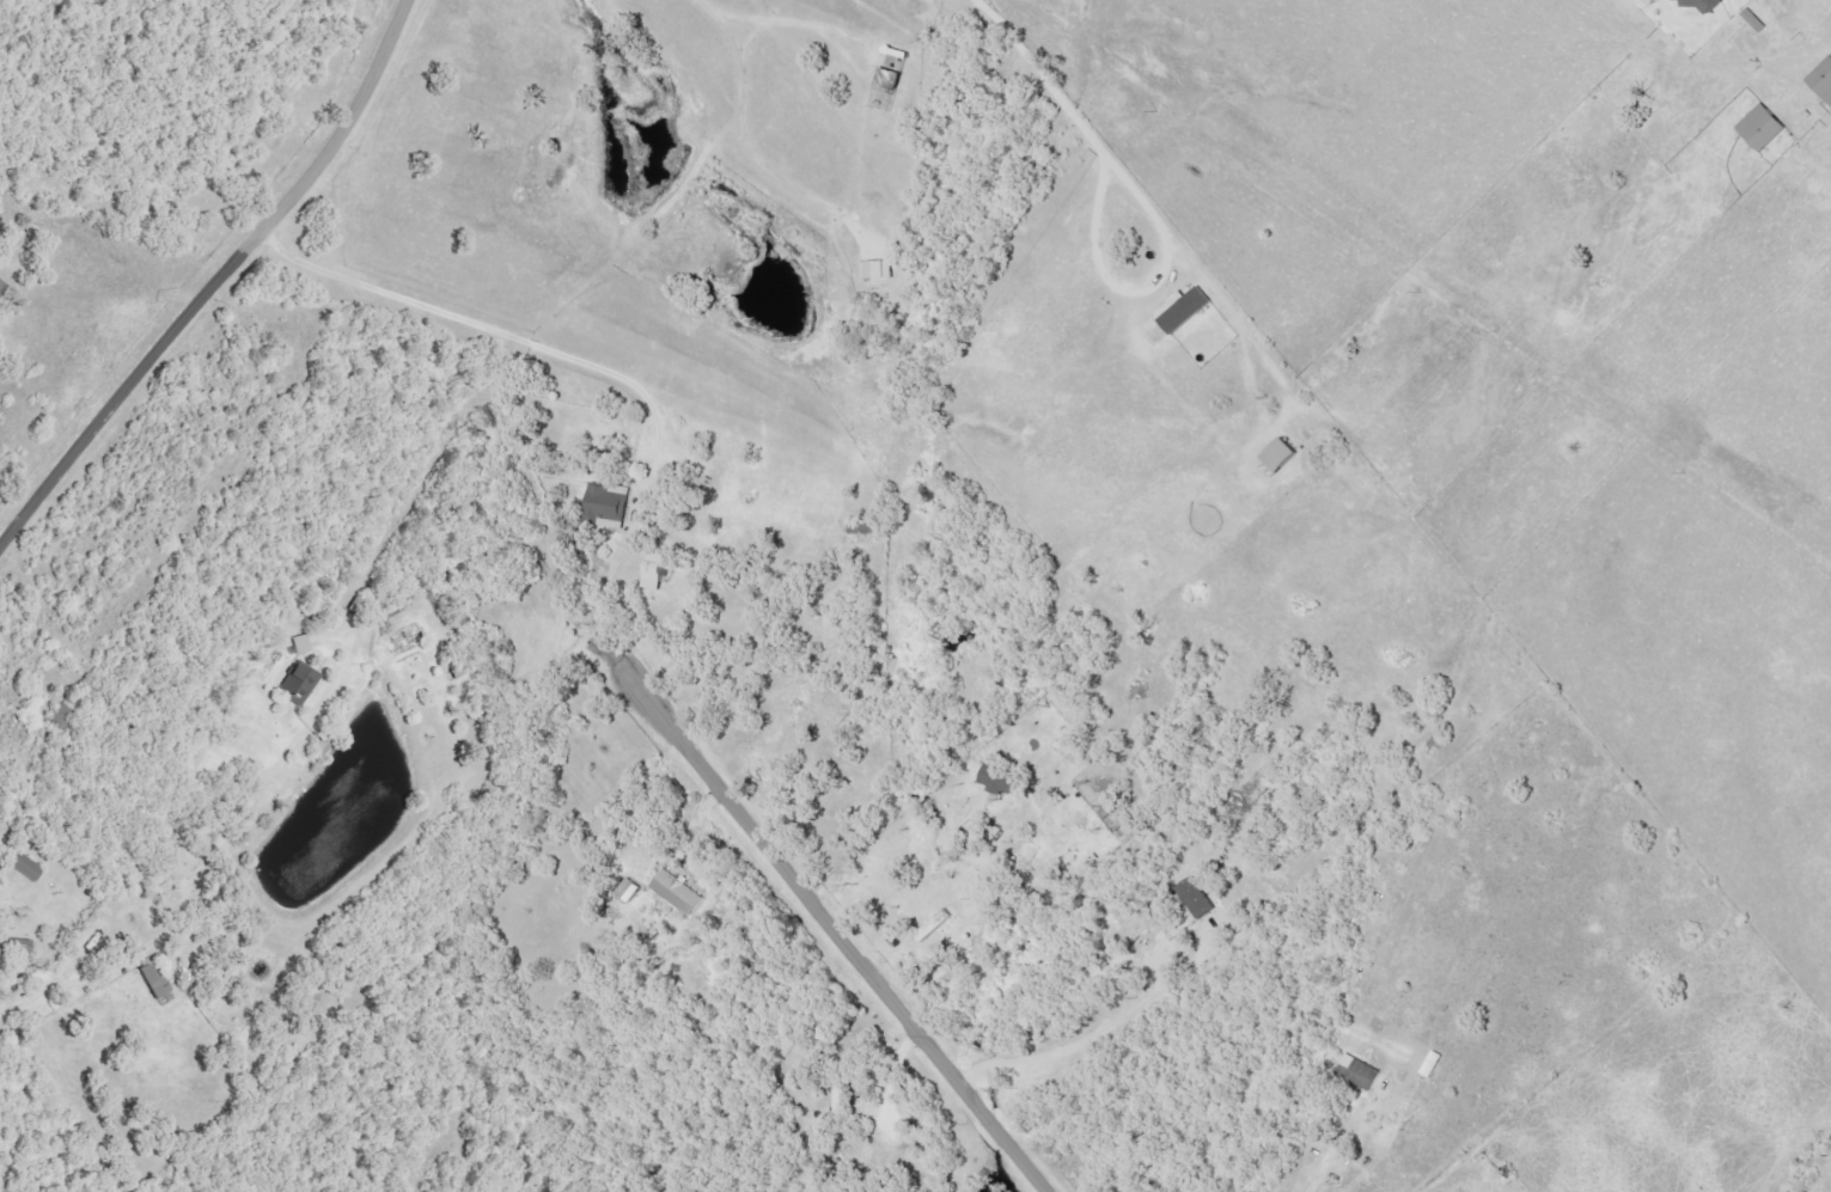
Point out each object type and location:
building: (1704, 5)
building: (1756, 20)
building: (1824, 81)
building: (1765, 128)
building: (879, 271)
road: (214, 280)
building: (1189, 312)
building: (1282, 456)
building: (610, 505)
building: (300, 684)
building: (1002, 781)
building: (23, 863)
building: (630, 891)
building: (680, 893)
building: (1200, 898)
road: (825, 927)
building: (22, 946)
building: (155, 980)
building: (1362, 1072)

